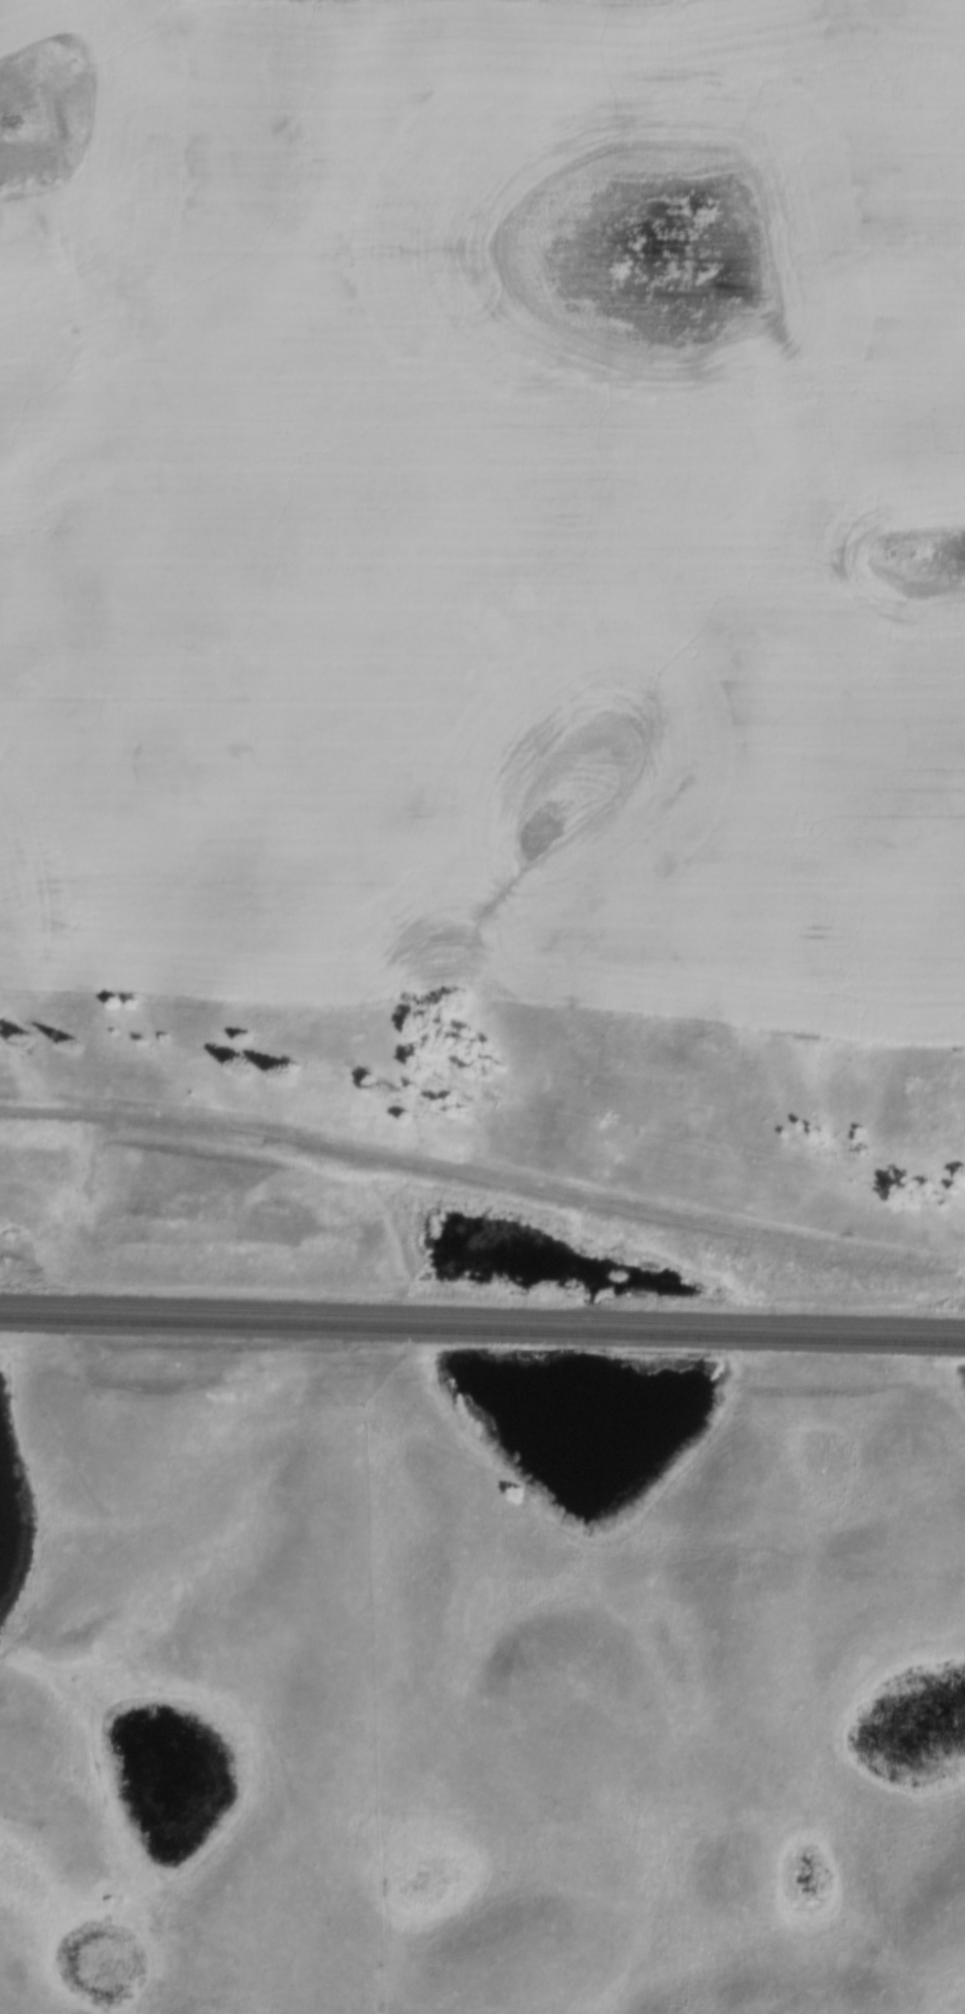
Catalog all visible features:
railway: (482, 1309)
railway: (482, 1332)

